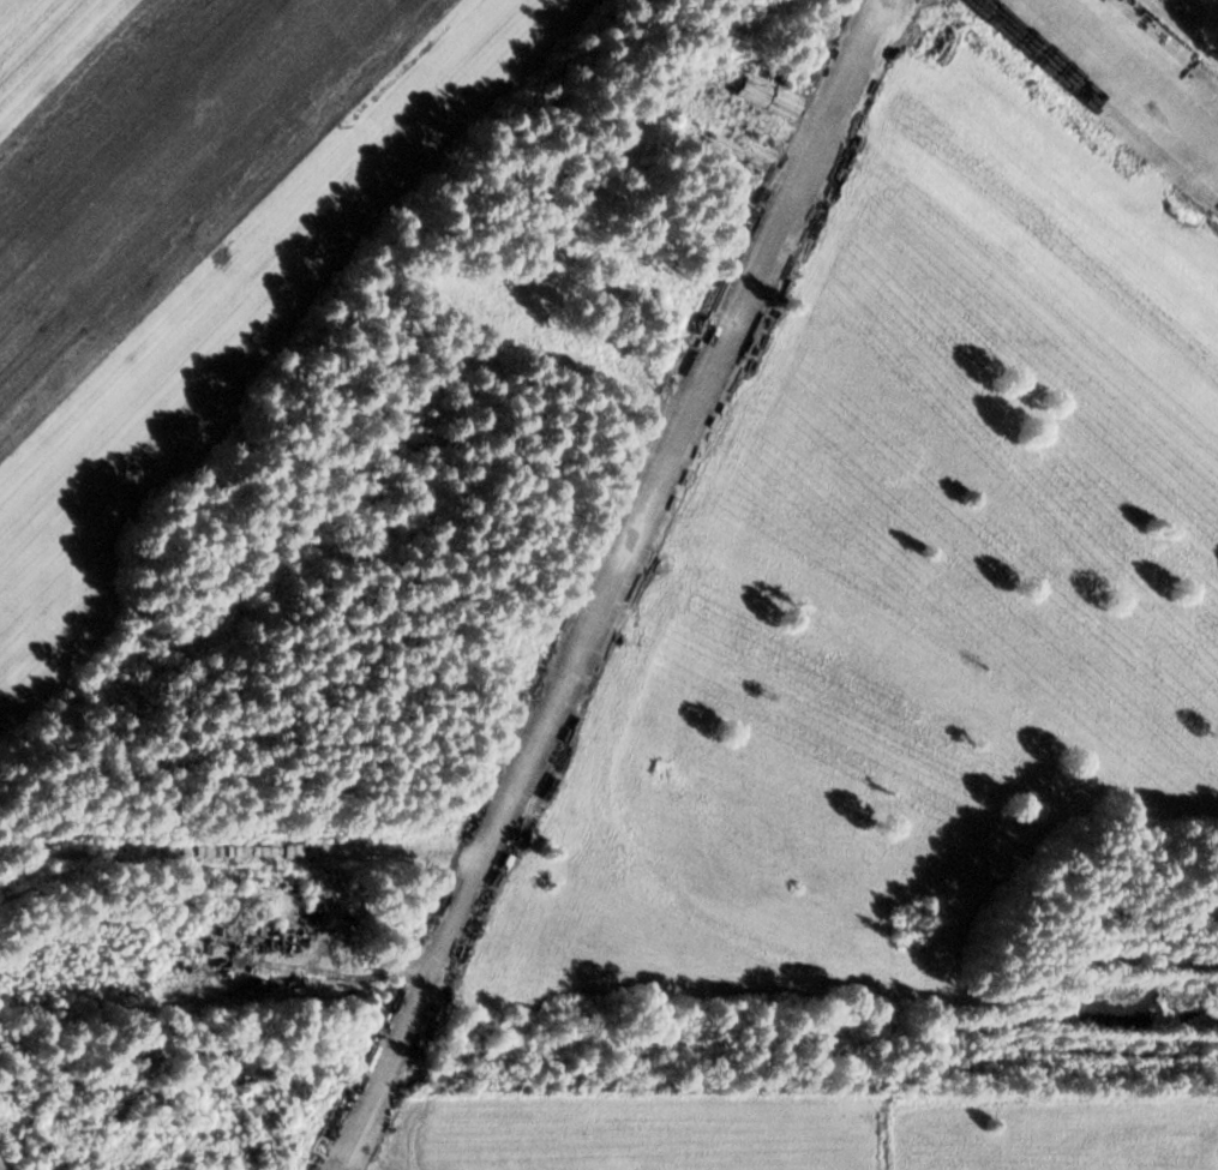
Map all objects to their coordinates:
airport: (187, 191)

